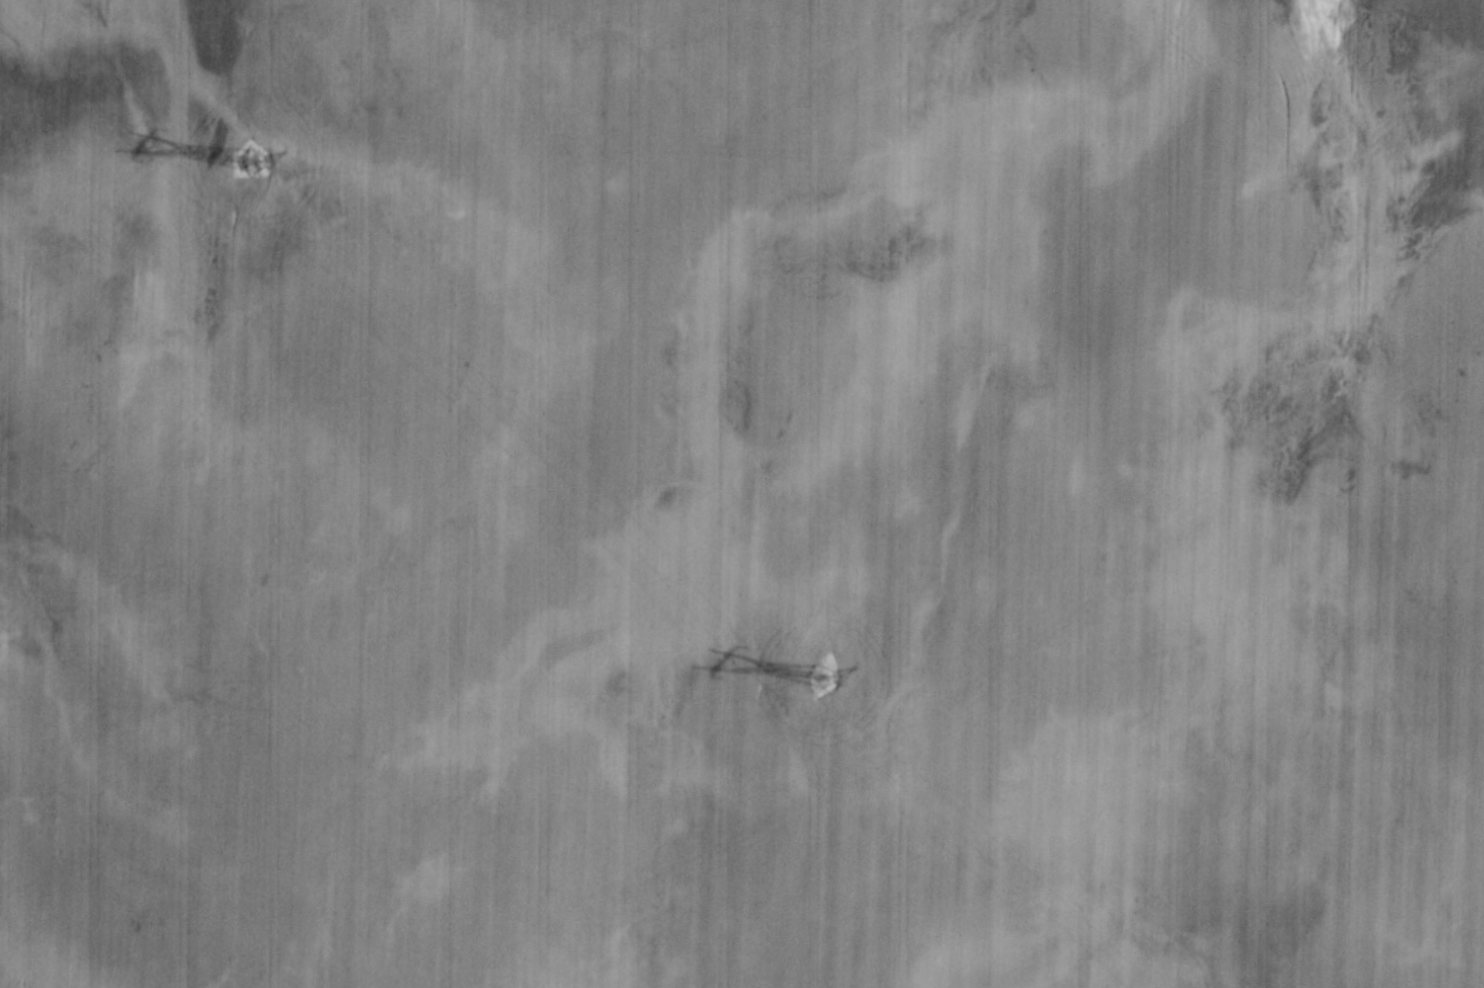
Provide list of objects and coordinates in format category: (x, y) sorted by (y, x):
power tower: (244, 166)
road: (901, 493)
power tower: (822, 682)

